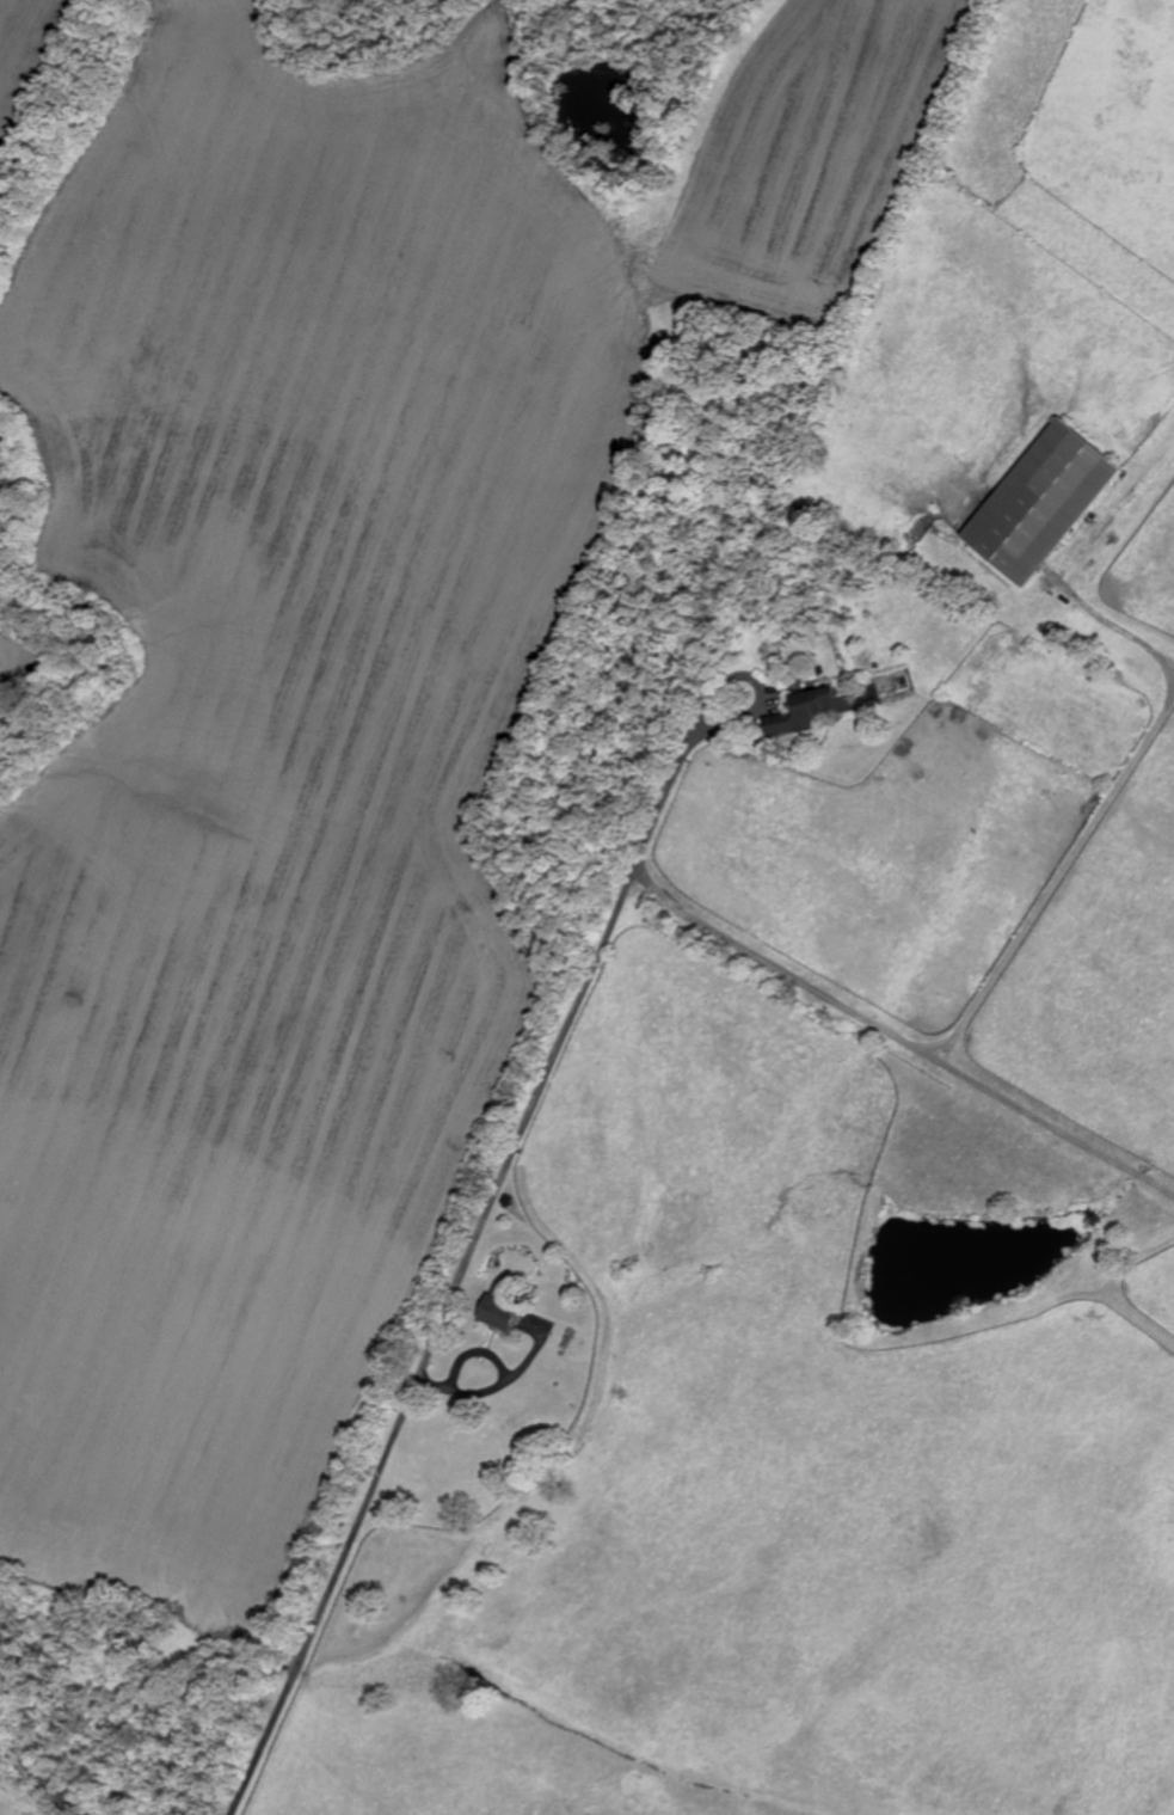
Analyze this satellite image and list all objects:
building: (1046, 504)
road: (1133, 634)
building: (811, 707)
road: (700, 725)
road: (1056, 881)
road: (554, 1061)
building: (510, 1198)
building: (506, 1314)
road: (505, 1378)
road: (42, 1774)

